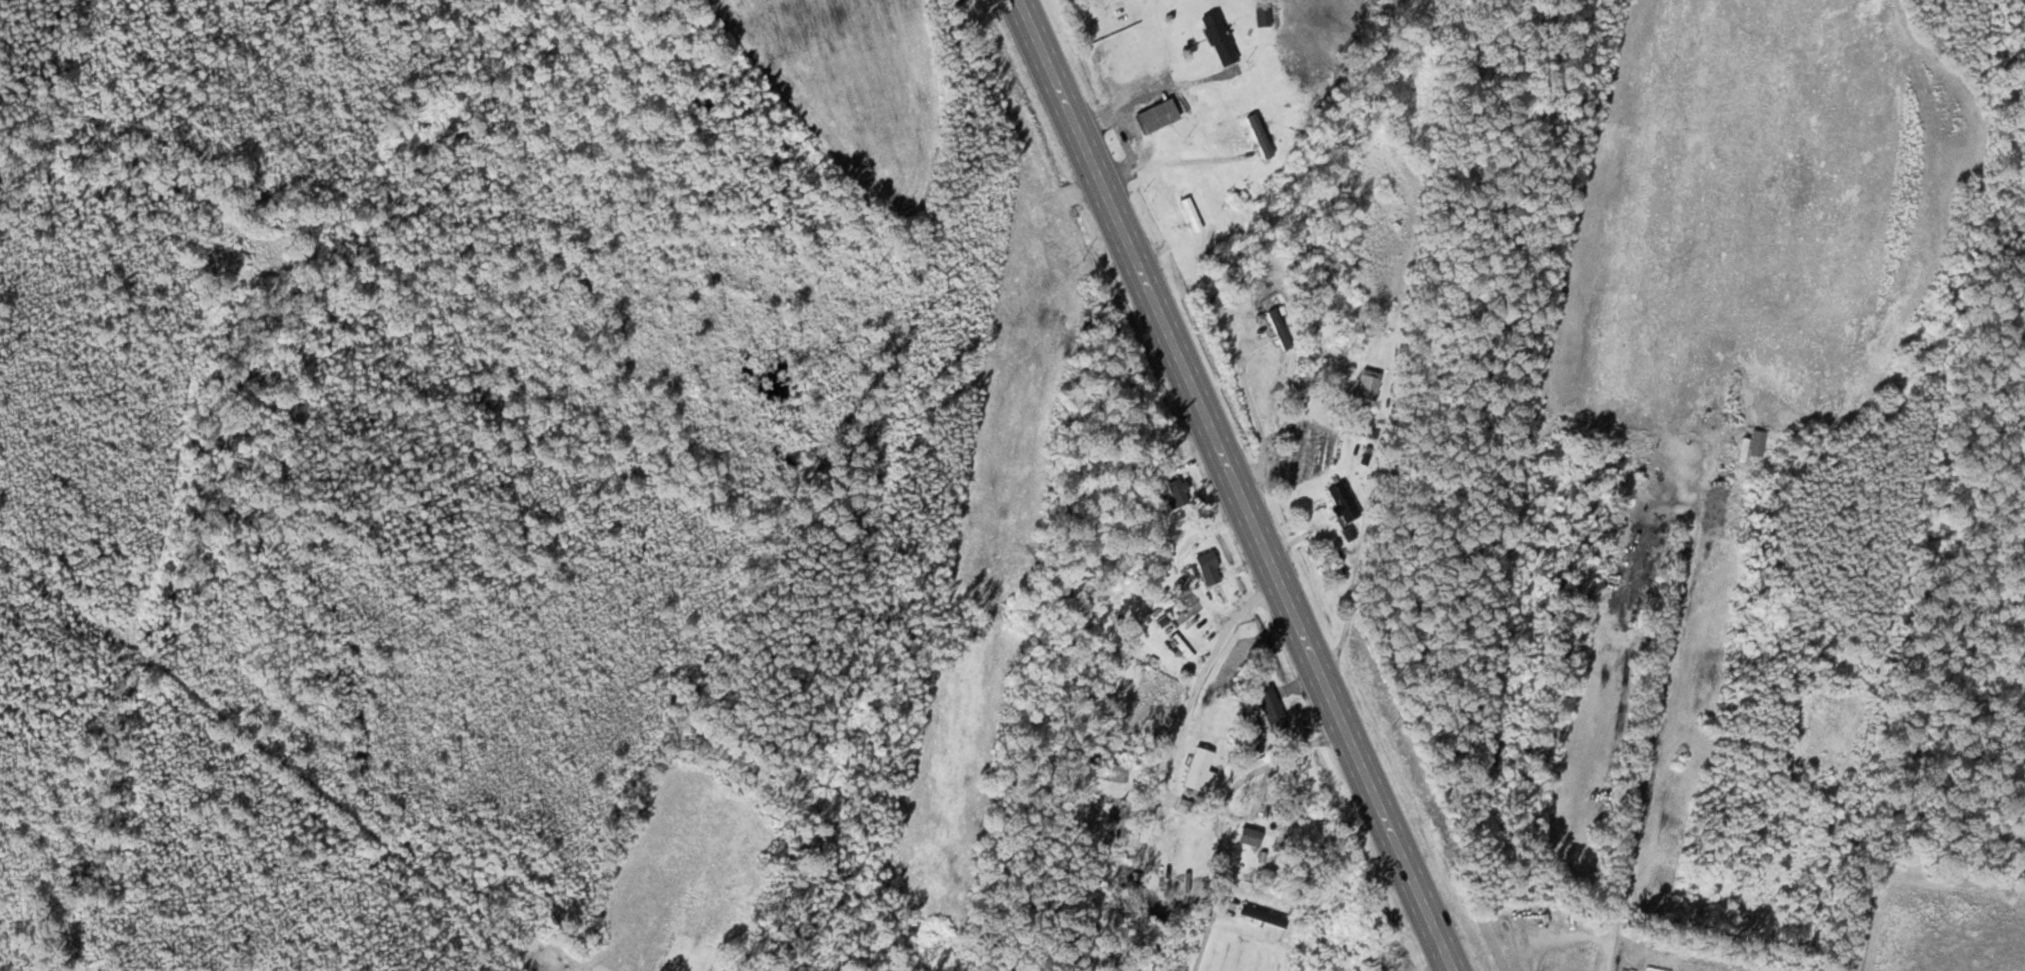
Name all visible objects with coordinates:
building: (1262, 15)
building: (1217, 38)
building: (1155, 116)
building: (1191, 214)
building: (1279, 329)
building: (1366, 387)
building: (1756, 442)
road: (1235, 486)
building: (1174, 493)
building: (1343, 500)
building: (1207, 567)
building: (1181, 645)
road: (1202, 674)
building: (1270, 707)
building: (1566, 760)
building: (1197, 767)
road: (1223, 814)
building: (1249, 836)
building: (1370, 914)
building: (1262, 915)
building: (1379, 965)

